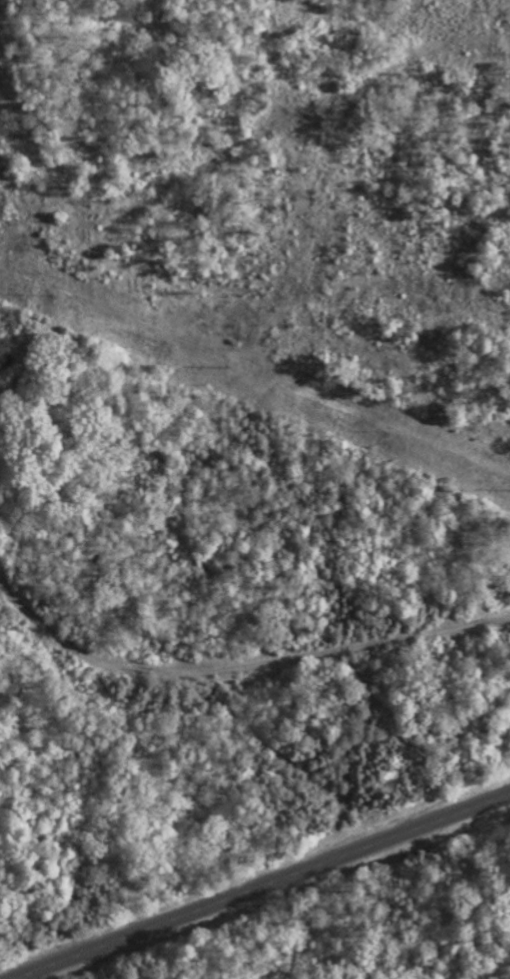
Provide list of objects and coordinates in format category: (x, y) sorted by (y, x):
road: (262, 886)

